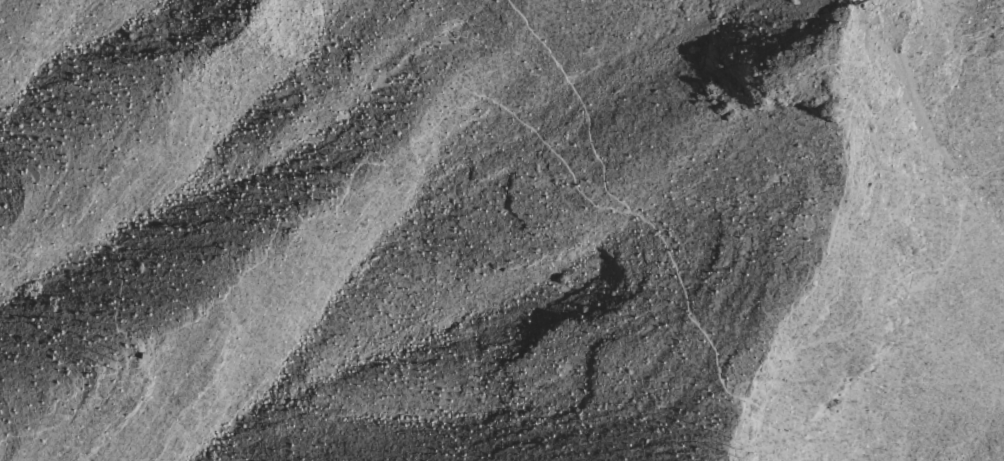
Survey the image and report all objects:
road: (281, 212)
building: (146, 357)
road: (715, 378)
road: (85, 411)

